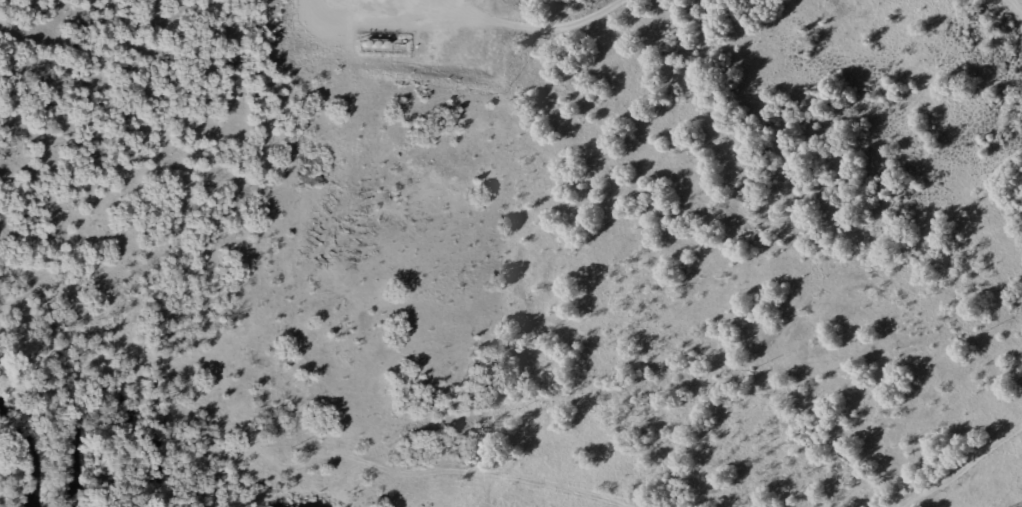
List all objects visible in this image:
road: (882, 431)

